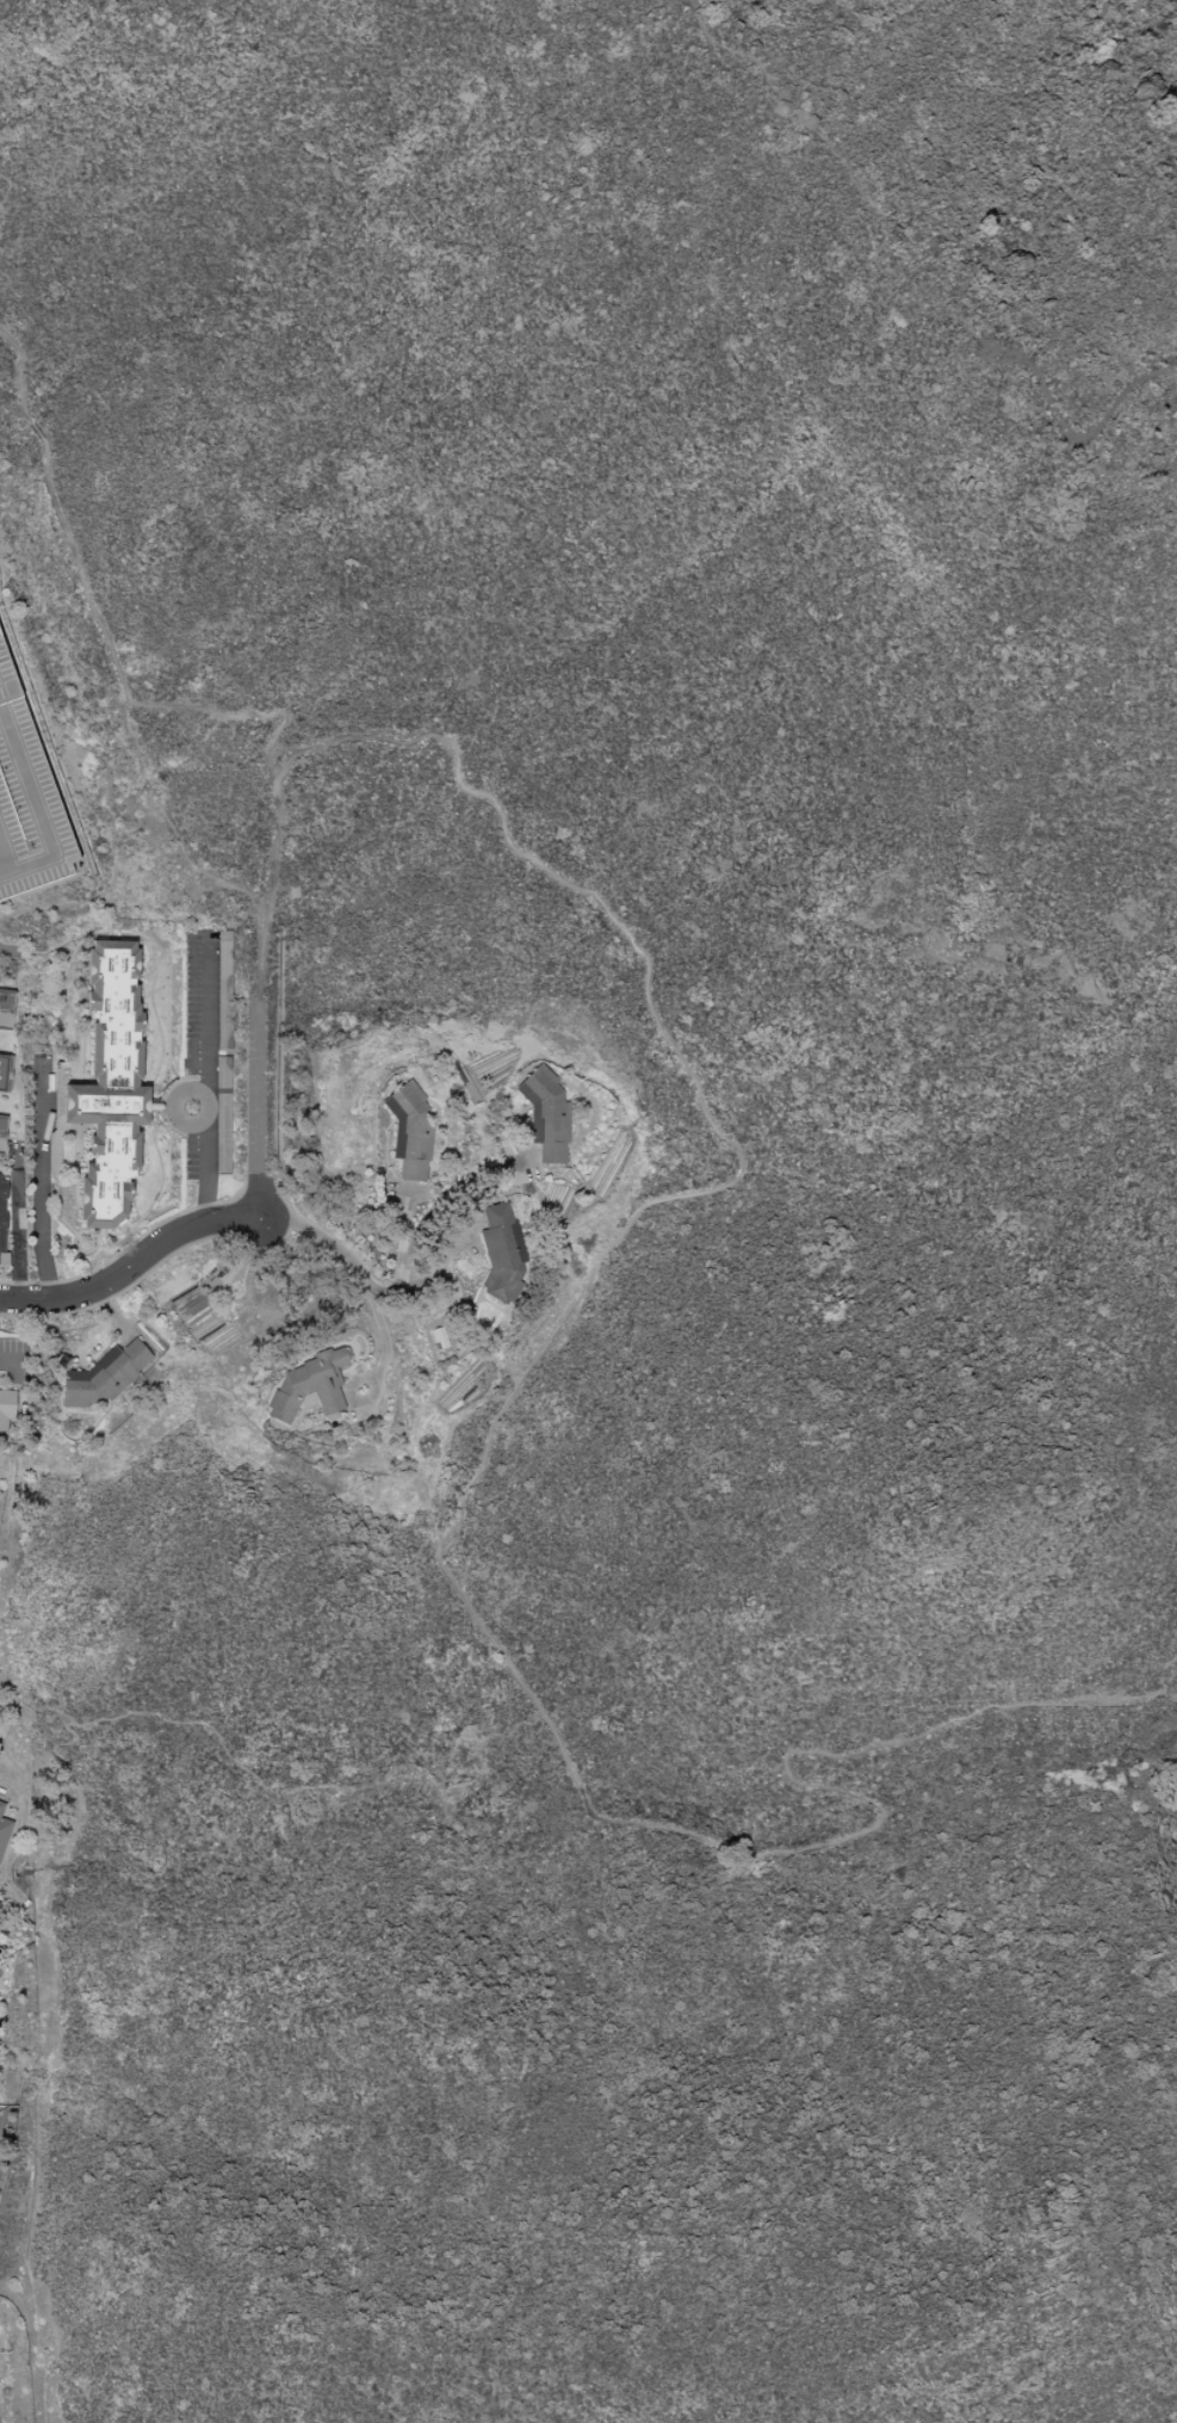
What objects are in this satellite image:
road: (902, 278)
road: (97, 623)
building: (27, 748)
building: (1, 815)
road: (8, 953)
building: (223, 990)
building: (6, 1008)
road: (256, 1071)
road: (204, 1077)
building: (110, 1086)
building: (222, 1115)
building: (546, 1115)
building: (2, 1123)
building: (409, 1132)
road: (38, 1180)
building: (2, 1213)
road: (426, 1216)
road: (235, 1222)
building: (501, 1251)
road: (8, 1364)
building: (103, 1377)
building: (309, 1385)
building: (6, 1411)
road: (493, 1430)
building: (1, 1807)
building: (4, 1832)

